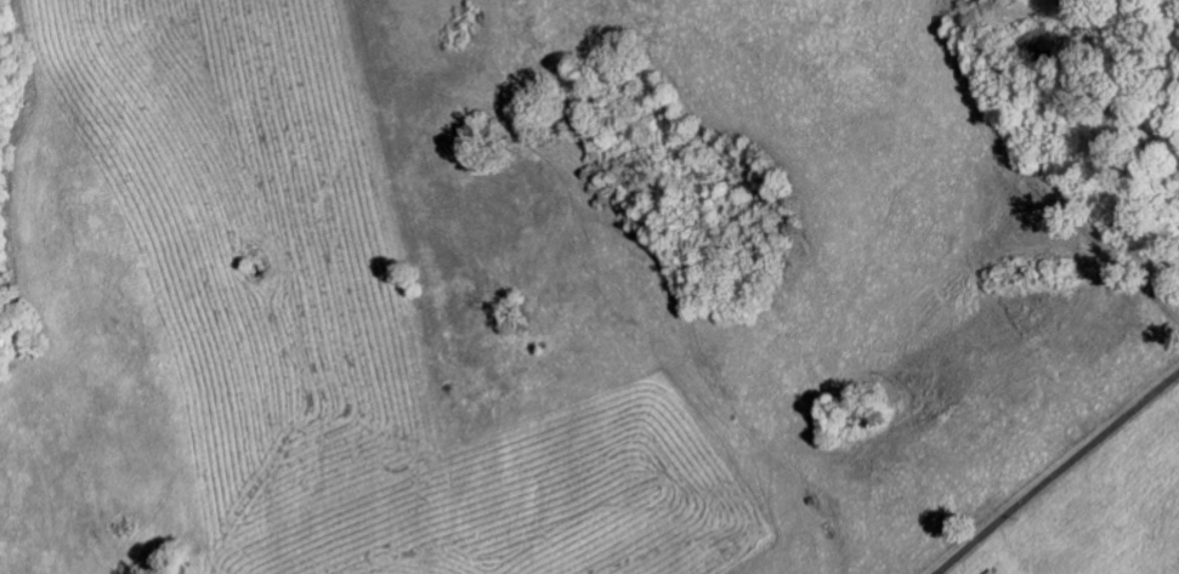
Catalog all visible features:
road: (1059, 473)

